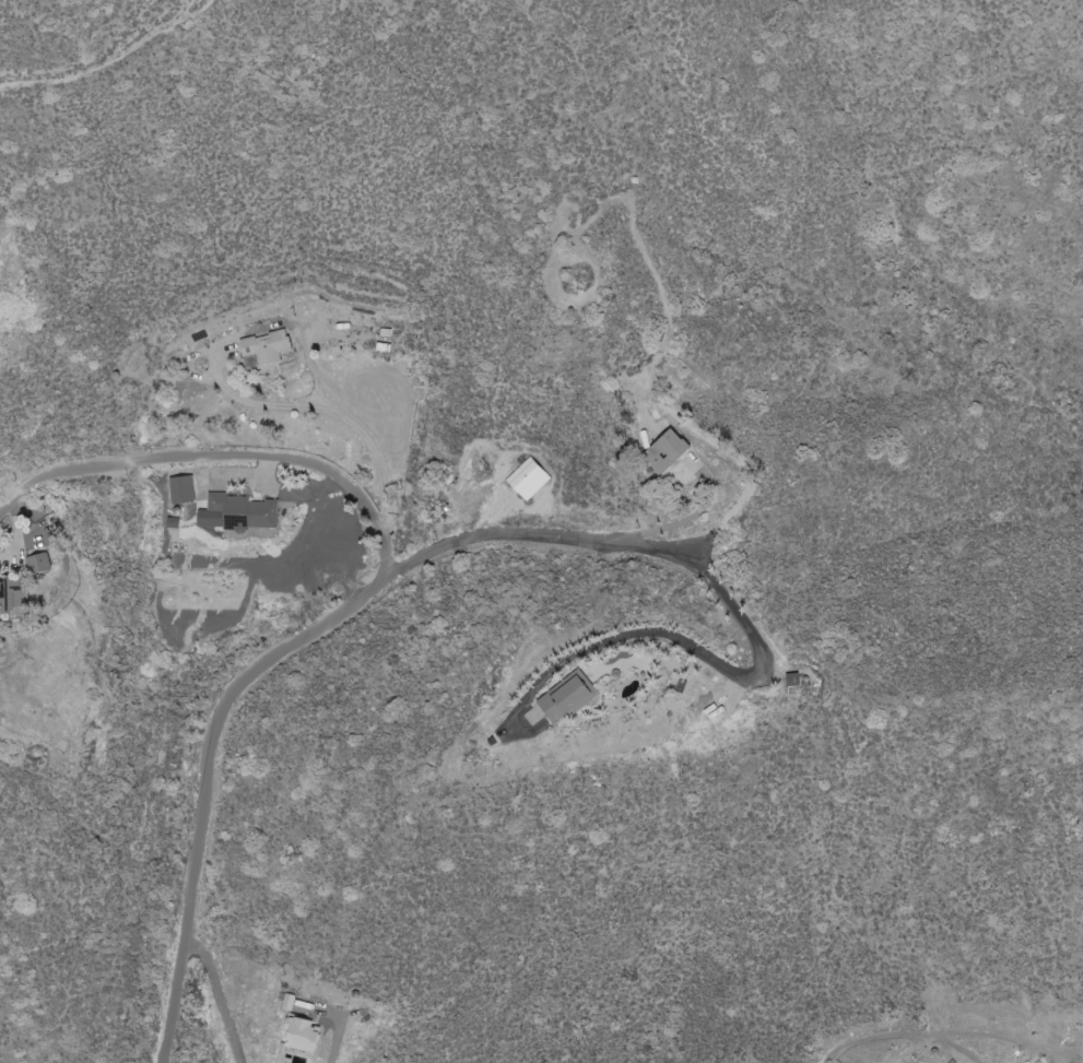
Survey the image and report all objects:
building: (263, 347)
road: (332, 412)
building: (661, 452)
road: (222, 457)
building: (526, 480)
building: (179, 491)
road: (280, 493)
building: (235, 513)
road: (333, 538)
building: (37, 565)
road: (361, 598)
building: (10, 600)
road: (702, 651)
building: (553, 695)
road: (219, 994)
building: (285, 1002)
building: (298, 1035)
road: (336, 1044)

